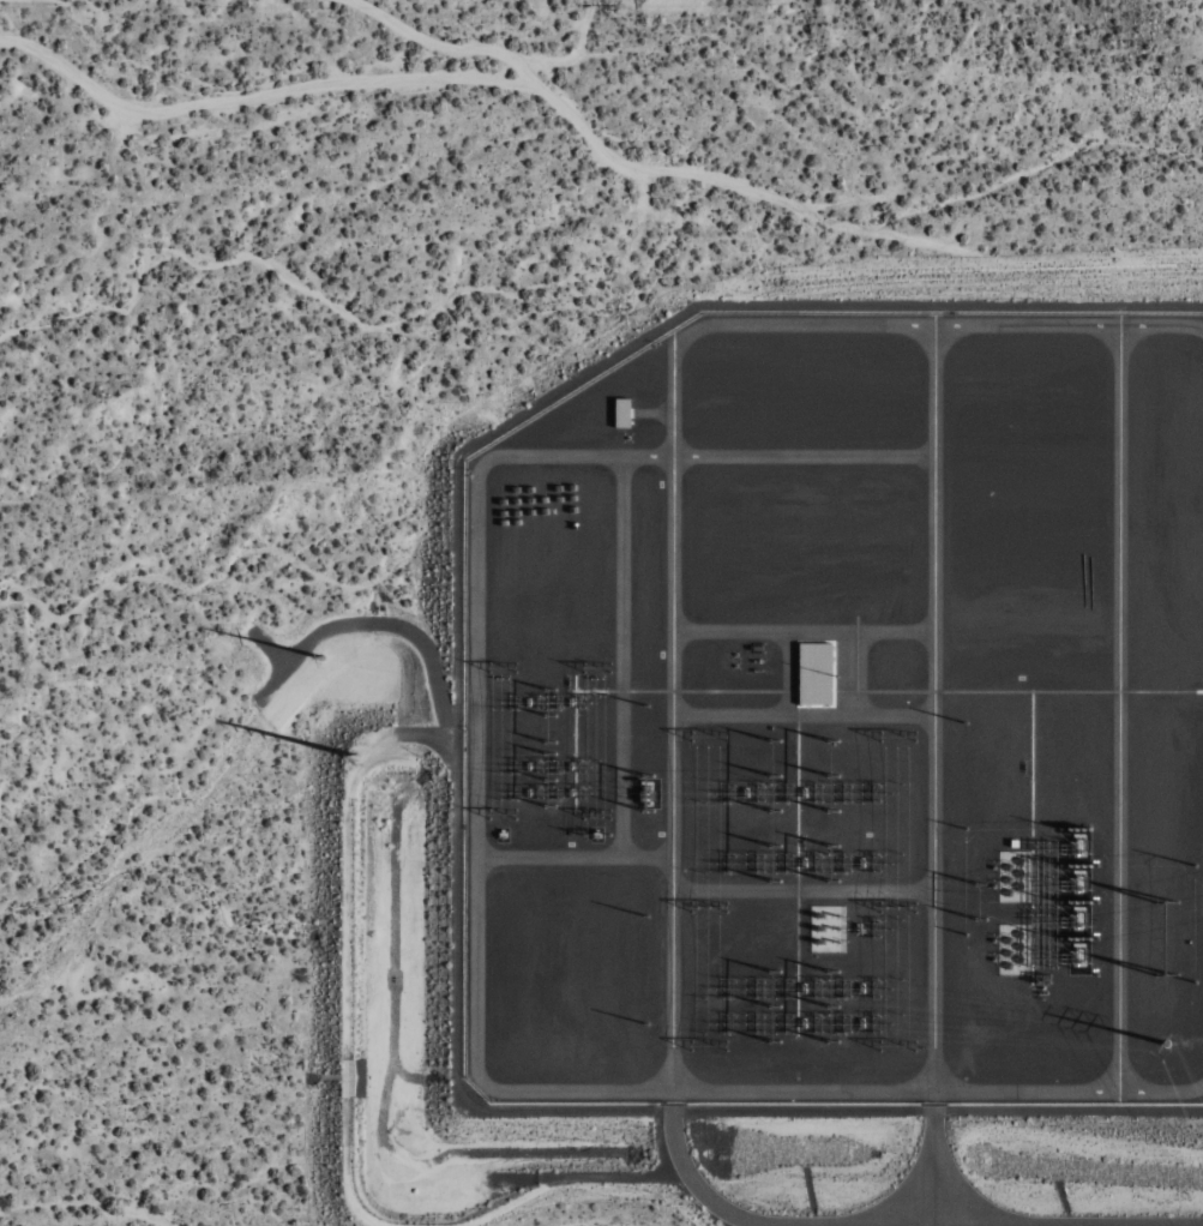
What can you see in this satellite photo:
building: (620, 413)
power substation: (842, 720)
power tower: (350, 758)
power tower: (1167, 1042)
road: (693, 1180)

